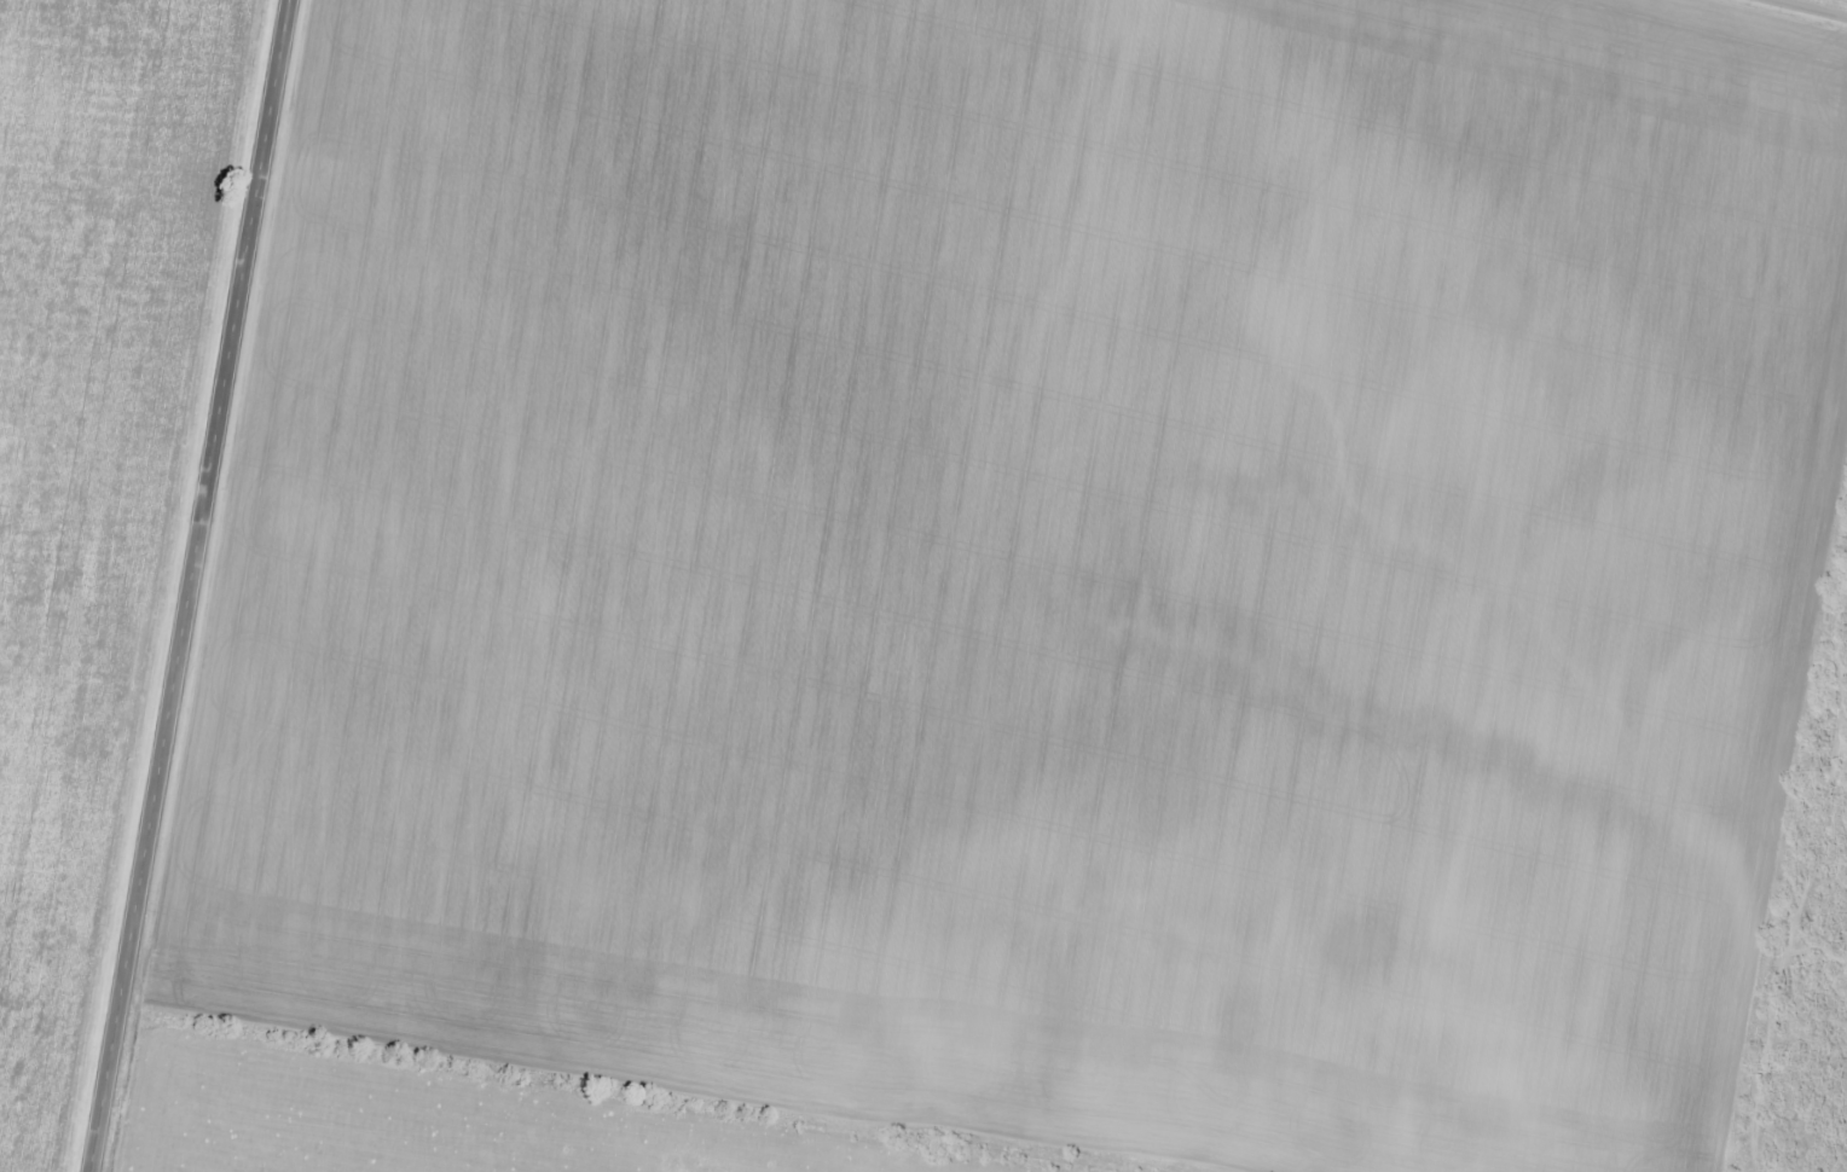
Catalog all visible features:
road: (1822, 5)
road: (190, 585)

